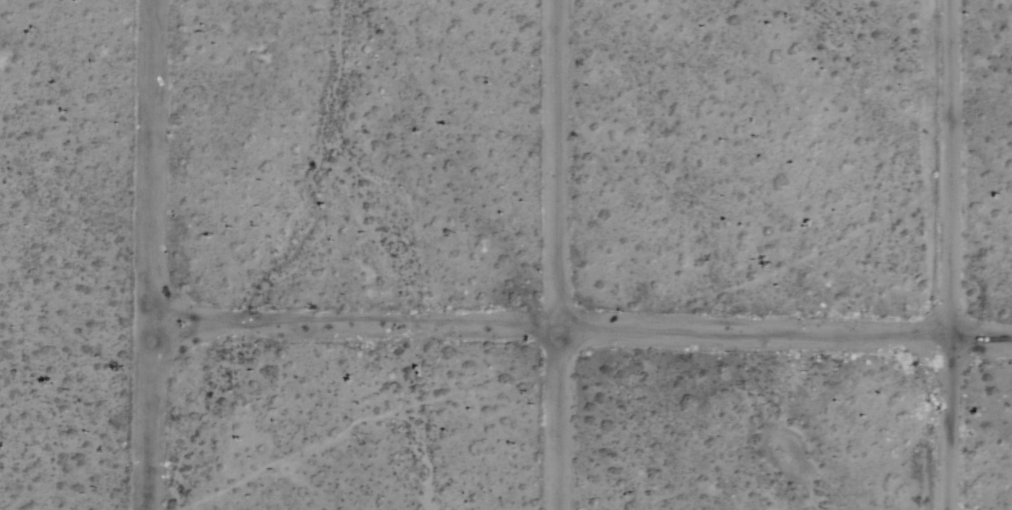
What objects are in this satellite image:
road: (149, 255)
road: (564, 255)
road: (940, 255)
road: (580, 319)

